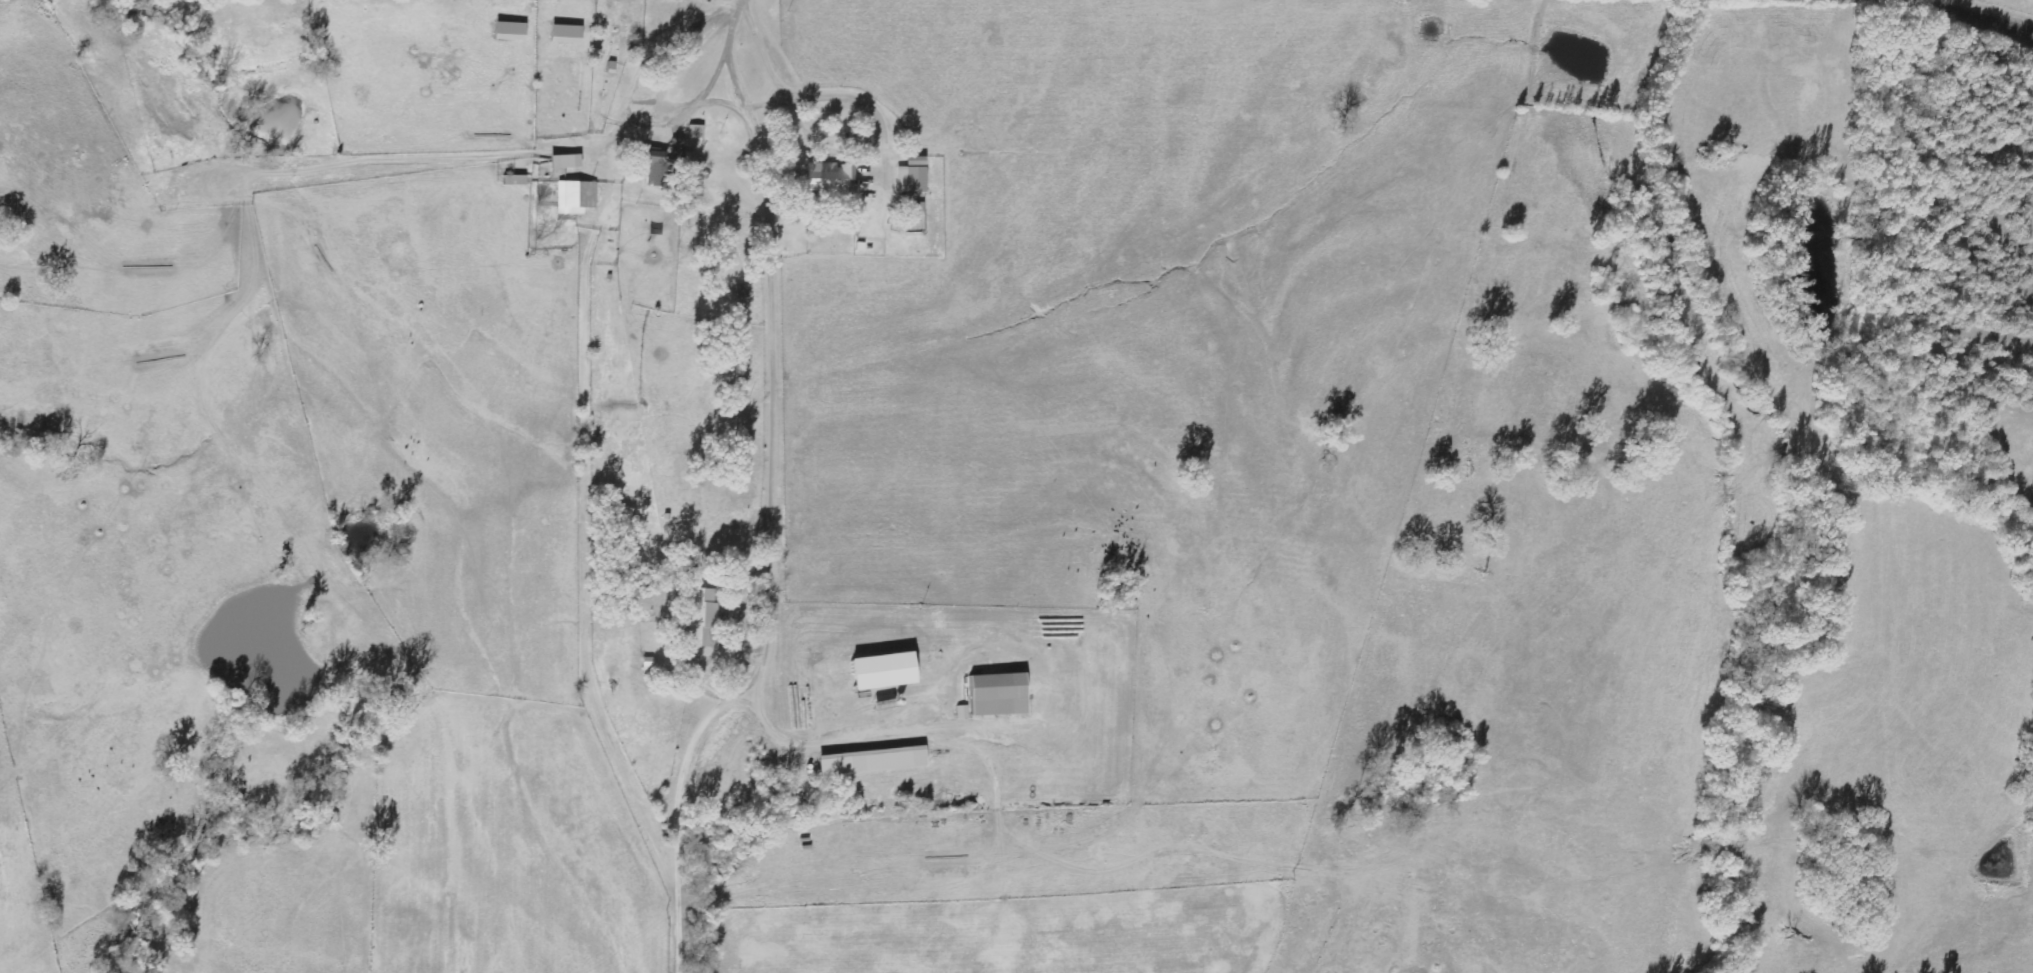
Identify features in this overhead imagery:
road: (1985, 13)
building: (564, 34)
building: (695, 131)
building: (650, 160)
building: (563, 162)
building: (911, 176)
building: (828, 179)
building: (513, 181)
building: (576, 197)
road: (755, 498)
building: (702, 618)
building: (879, 672)
building: (995, 695)
building: (962, 712)
building: (869, 762)

